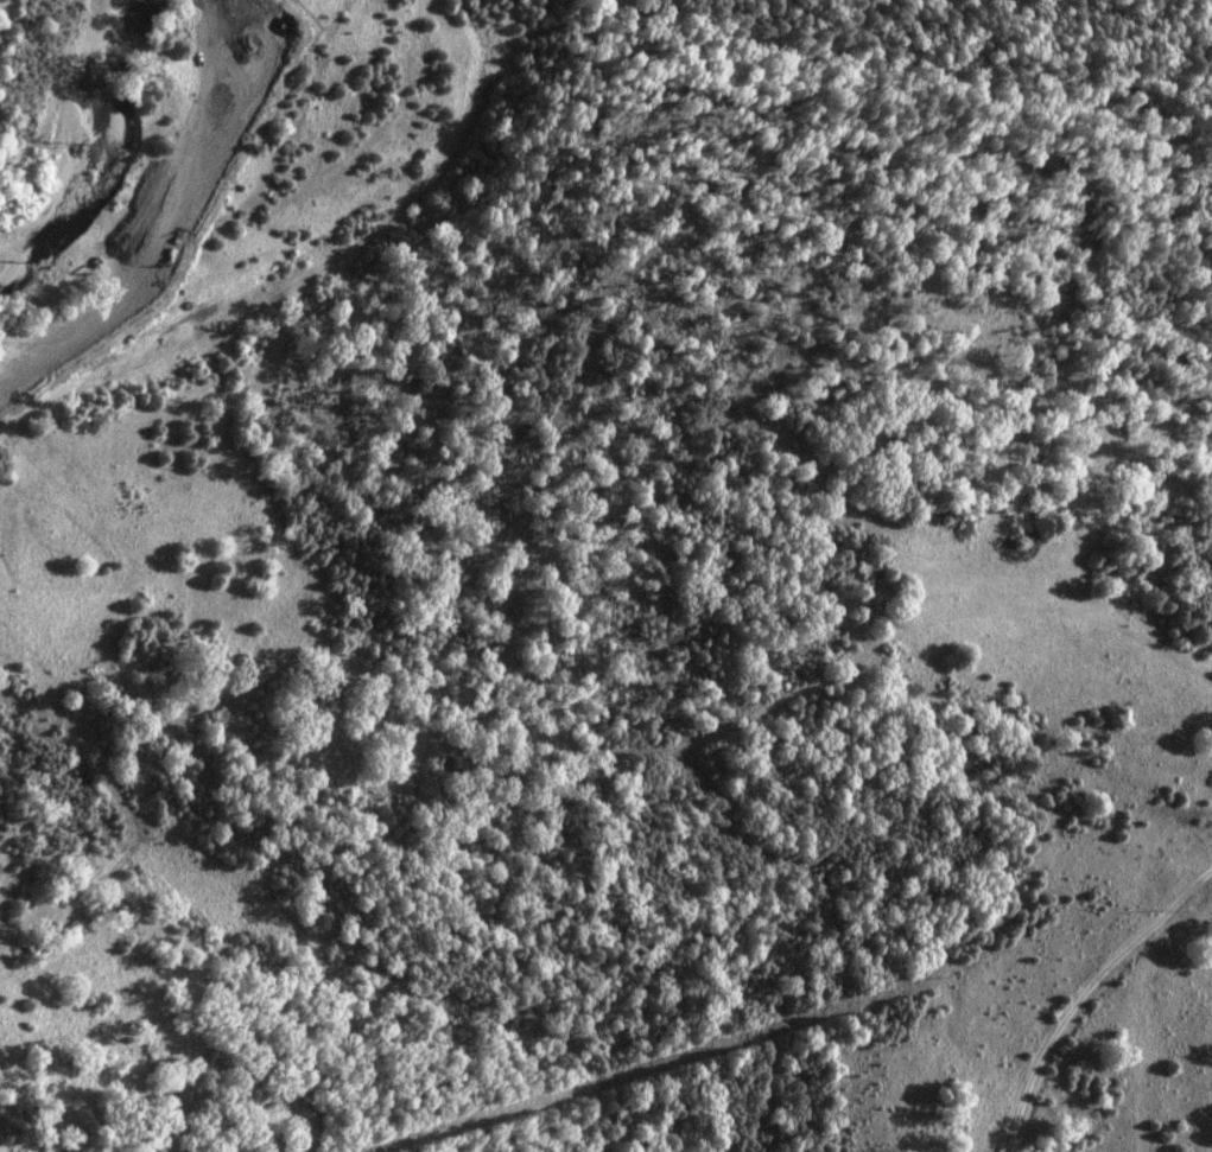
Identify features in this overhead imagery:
road: (1085, 993)

